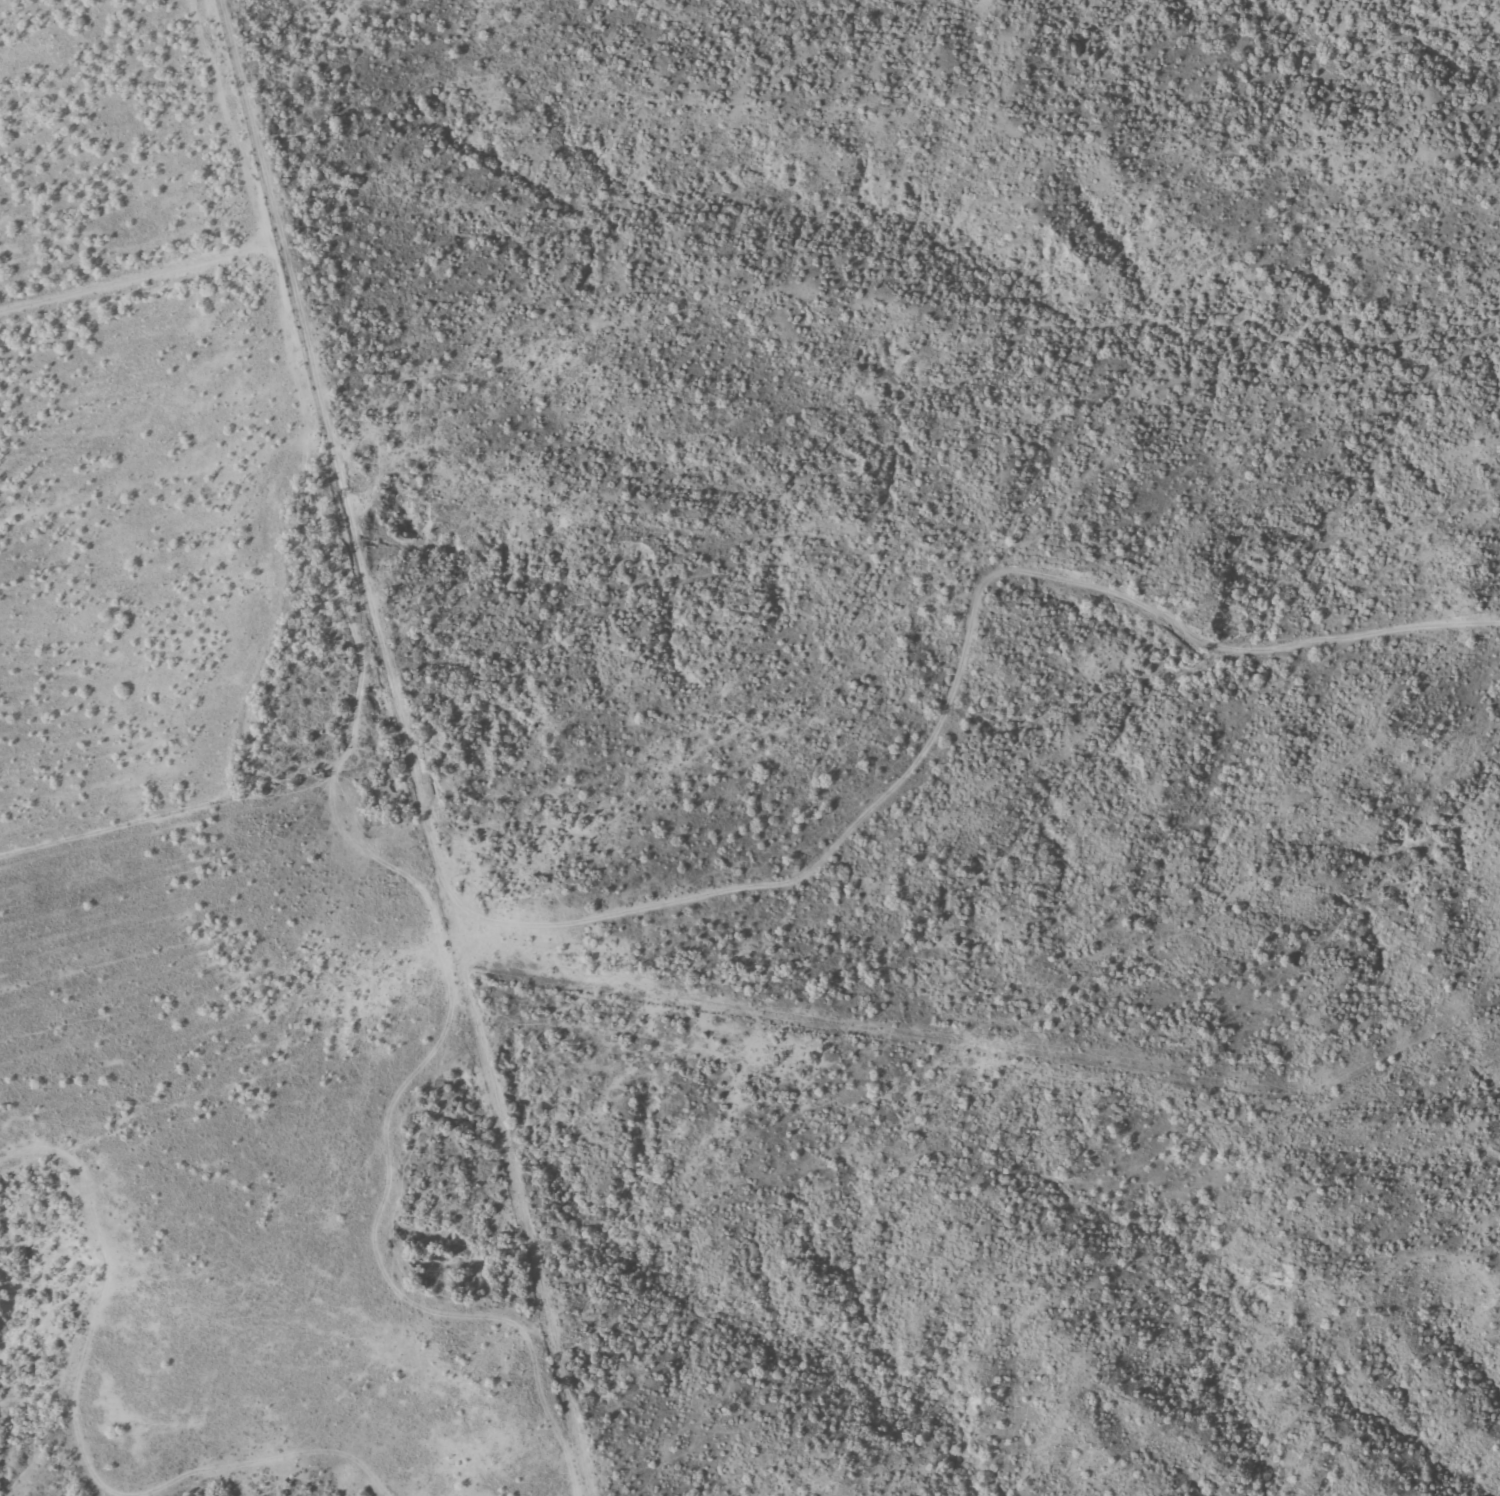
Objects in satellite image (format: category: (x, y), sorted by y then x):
road: (82, 18)
road: (55, 1306)

